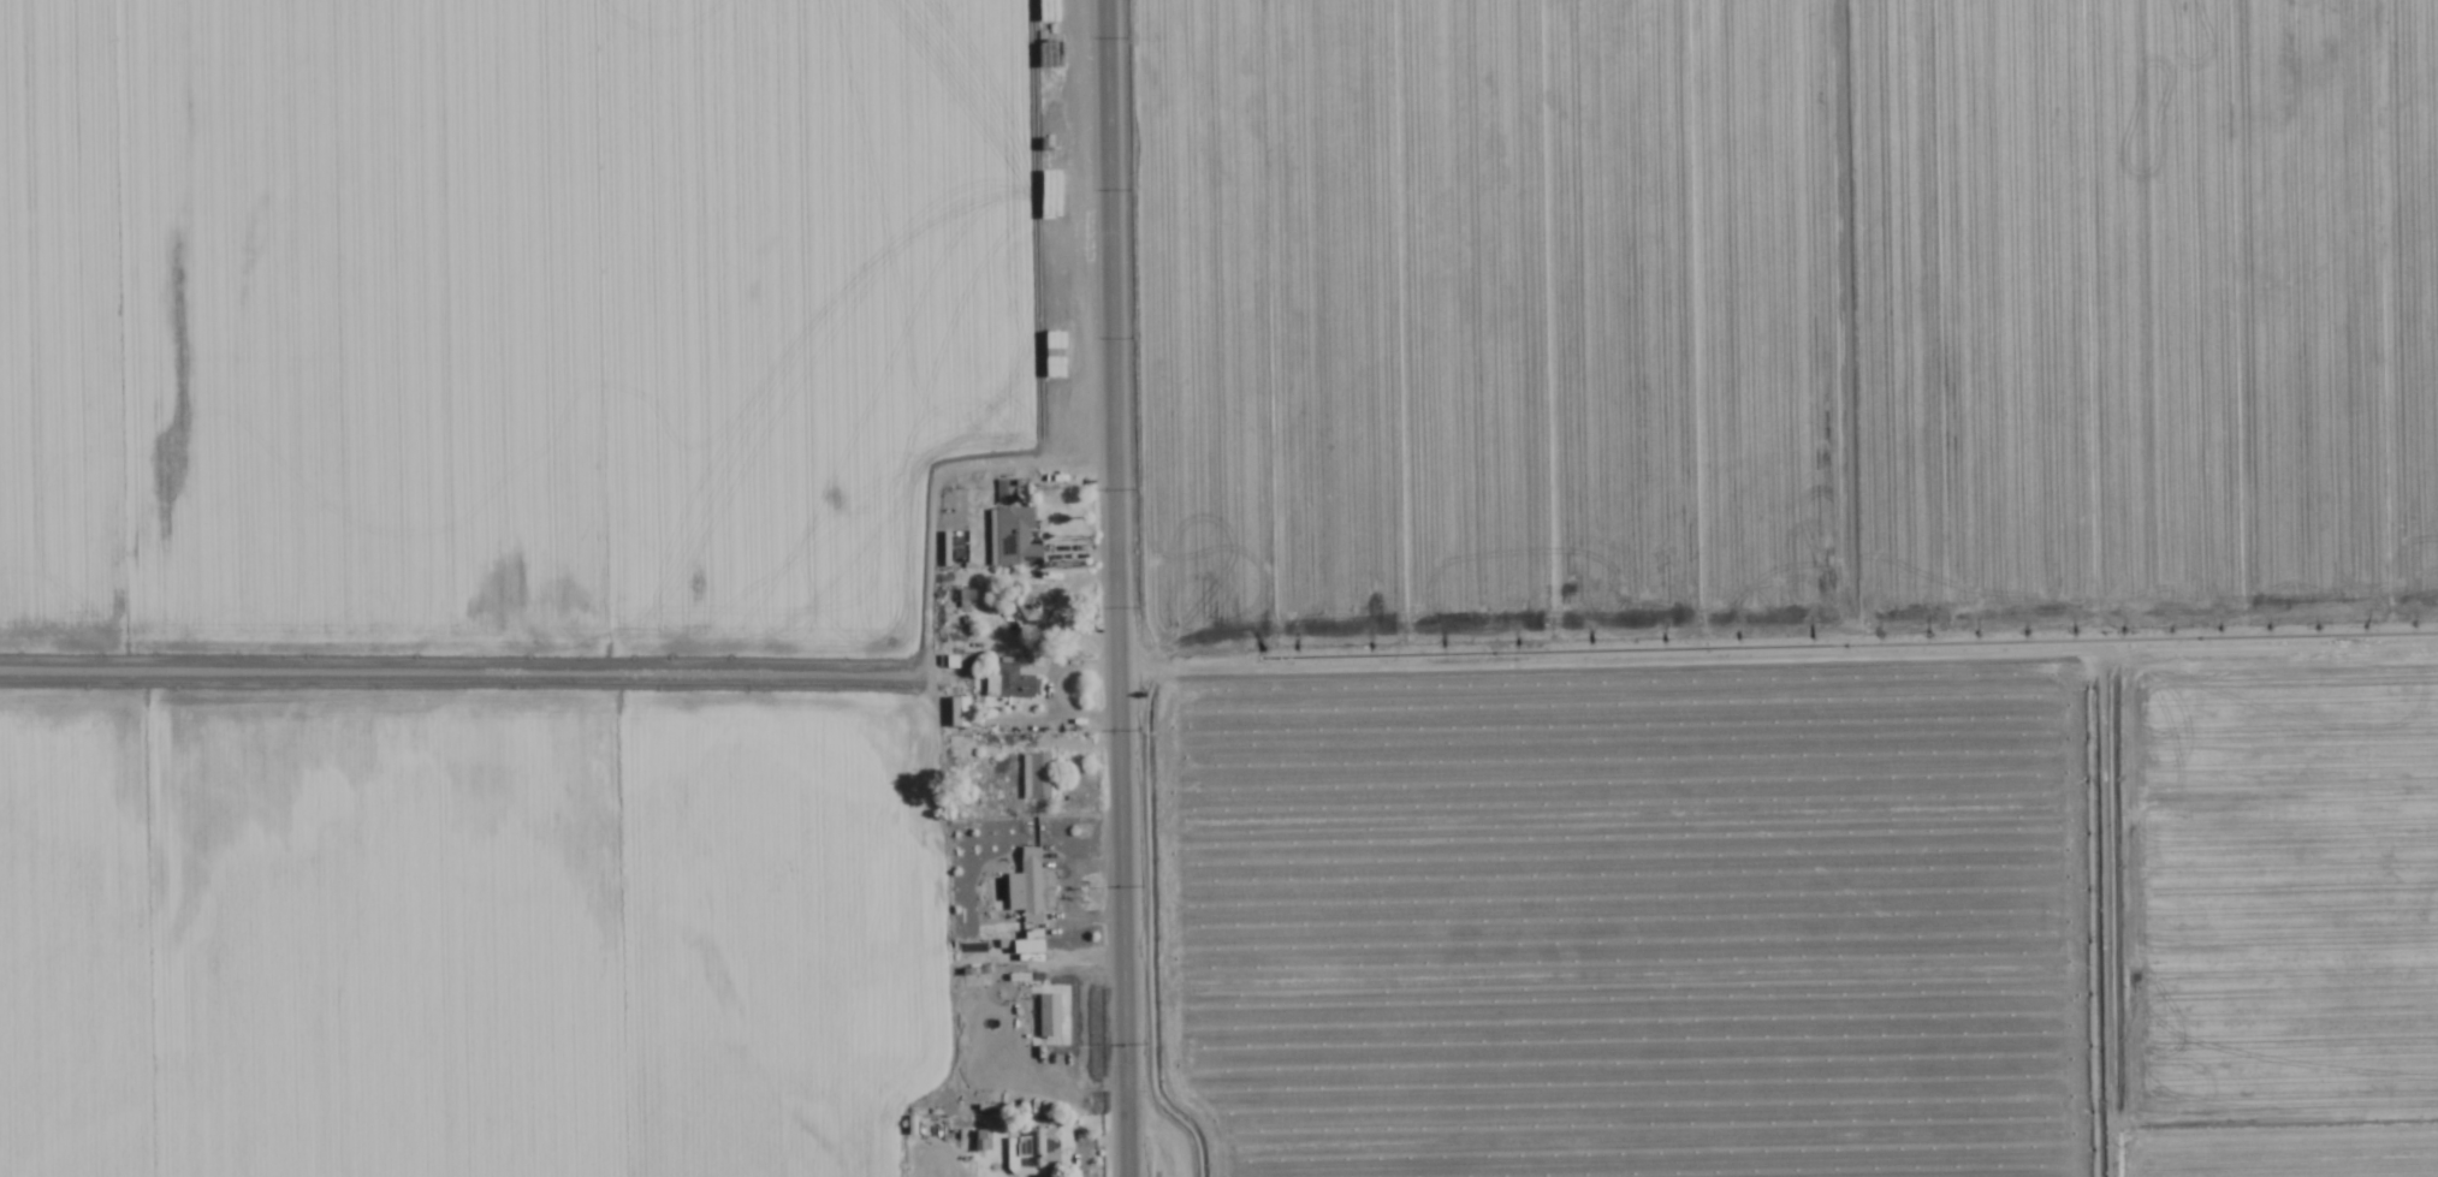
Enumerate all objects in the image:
building: (1010, 536)
road: (1111, 588)
building: (1009, 683)
building: (957, 712)
building: (1036, 777)
building: (1026, 887)
building: (1024, 947)
building: (1050, 1021)
building: (1032, 1152)

